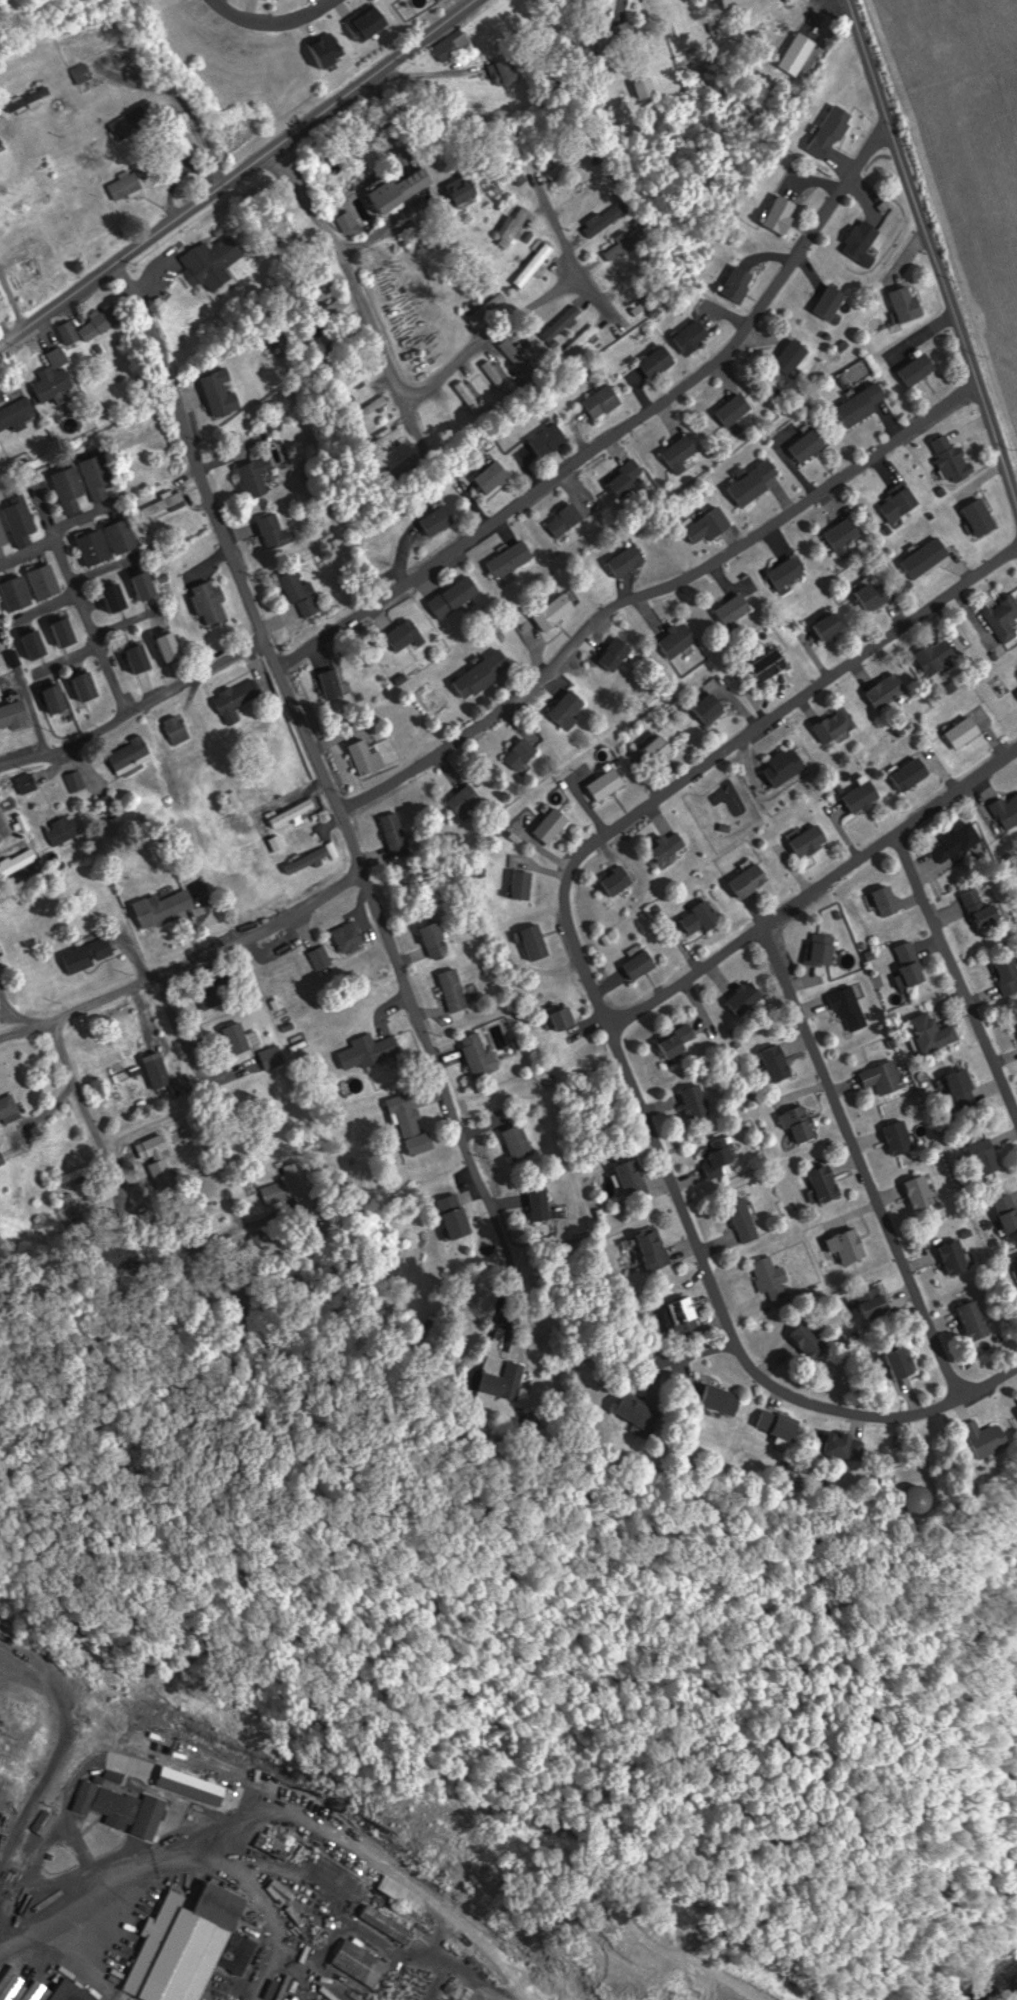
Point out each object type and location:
road: (320, 2)
building: (730, 3)
road: (334, 4)
road: (244, 9)
road: (269, 19)
building: (358, 19)
road: (297, 25)
building: (444, 44)
building: (315, 46)
building: (789, 54)
building: (85, 72)
building: (645, 87)
building: (40, 94)
building: (820, 129)
building: (832, 130)
road: (239, 173)
building: (128, 186)
building: (467, 190)
building: (399, 195)
building: (770, 213)
building: (782, 213)
road: (398, 222)
building: (516, 226)
building: (857, 241)
road: (932, 248)
road: (570, 249)
road: (92, 258)
building: (207, 262)
building: (533, 264)
building: (636, 272)
building: (730, 283)
building: (822, 301)
building: (897, 302)
road: (11, 304)
building: (641, 305)
building: (107, 321)
building: (564, 326)
building: (684, 333)
building: (695, 336)
building: (579, 340)
building: (783, 356)
building: (649, 360)
road: (390, 362)
building: (909, 368)
building: (57, 380)
building: (215, 393)
building: (592, 402)
building: (850, 405)
building: (725, 410)
building: (19, 415)
road: (620, 429)
building: (388, 436)
building: (539, 439)
building: (799, 444)
building: (671, 453)
building: (942, 458)
building: (250, 475)
building: (483, 476)
building: (86, 480)
building: (743, 483)
building: (617, 485)
building: (892, 502)
building: (972, 516)
building: (557, 518)
building: (22, 521)
building: (430, 521)
building: (697, 525)
building: (268, 528)
building: (3, 531)
building: (124, 535)
building: (837, 536)
building: (96, 547)
building: (915, 557)
building: (617, 559)
building: (505, 561)
building: (629, 561)
building: (777, 573)
building: (285, 584)
building: (148, 585)
building: (33, 587)
road: (654, 591)
building: (448, 596)
building: (866, 596)
building: (117, 598)
building: (205, 602)
building: (548, 608)
building: (725, 608)
building: (997, 614)
building: (831, 626)
building: (818, 627)
building: (67, 632)
building: (399, 635)
building: (671, 639)
road: (179, 641)
building: (38, 645)
building: (174, 647)
road: (190, 647)
building: (611, 654)
building: (925, 656)
building: (939, 656)
building: (141, 658)
building: (761, 662)
building: (475, 673)
building: (1016, 680)
building: (325, 684)
building: (89, 687)
building: (879, 690)
building: (1014, 692)
building: (238, 698)
building: (59, 699)
road: (143, 703)
building: (560, 708)
building: (697, 708)
building: (713, 708)
building: (14, 715)
building: (827, 725)
building: (179, 729)
building: (954, 732)
building: (966, 732)
building: (650, 749)
road: (723, 752)
building: (516, 753)
building: (133, 755)
building: (358, 758)
road: (318, 761)
building: (775, 768)
building: (901, 771)
building: (913, 774)
building: (599, 782)
building: (77, 783)
building: (854, 795)
building: (455, 797)
building: (467, 800)
building: (295, 810)
building: (1001, 810)
building: (541, 826)
building: (64, 830)
building: (388, 834)
building: (399, 834)
building: (798, 839)
building: (947, 840)
building: (657, 843)
building: (669, 845)
building: (312, 859)
building: (18, 862)
building: (607, 879)
building: (751, 879)
building: (738, 880)
building: (514, 883)
road: (815, 889)
building: (889, 899)
building: (875, 900)
building: (167, 906)
building: (987, 907)
building: (970, 909)
building: (693, 913)
building: (351, 936)
building: (525, 937)
building: (437, 938)
building: (812, 949)
building: (90, 954)
road: (181, 961)
building: (633, 964)
building: (900, 964)
building: (915, 967)
road: (956, 974)
building: (1002, 977)
building: (455, 989)
building: (739, 999)
building: (212, 1000)
building: (841, 1004)
building: (553, 1016)
building: (564, 1017)
building: (922, 1034)
building: (241, 1037)
building: (1015, 1038)
building: (671, 1039)
building: (371, 1050)
building: (479, 1054)
building: (274, 1055)
building: (95, 1057)
building: (767, 1062)
building: (779, 1062)
building: (160, 1070)
road: (309, 1071)
building: (876, 1076)
building: (953, 1087)
building: (688, 1099)
building: (7, 1108)
road: (91, 1114)
building: (412, 1122)
building: (792, 1123)
building: (803, 1123)
building: (891, 1136)
building: (519, 1142)
building: (156, 1150)
building: (712, 1151)
building: (978, 1155)
building: (3, 1158)
road: (861, 1163)
building: (624, 1176)
building: (816, 1182)
building: (915, 1192)
building: (542, 1206)
building: (1000, 1214)
building: (457, 1215)
building: (736, 1218)
building: (839, 1245)
building: (645, 1248)
building: (945, 1255)
building: (1013, 1265)
building: (765, 1282)
building: (865, 1301)
building: (672, 1317)
building: (967, 1319)
road: (735, 1330)
building: (802, 1337)
building: (784, 1352)
building: (906, 1361)
building: (893, 1362)
building: (507, 1381)
building: (712, 1399)
building: (1014, 1406)
building: (630, 1411)
building: (768, 1424)
building: (977, 1438)
building: (998, 1439)
building: (852, 1443)
building: (832, 1446)
building: (935, 1495)
building: (906, 1498)
road: (60, 1753)
building: (110, 1803)
building: (277, 1846)
building: (403, 1893)
building: (388, 1925)
building: (188, 1947)
building: (361, 1963)
building: (75, 1991)
river: (1013, 1996)
building: (379, 1999)

